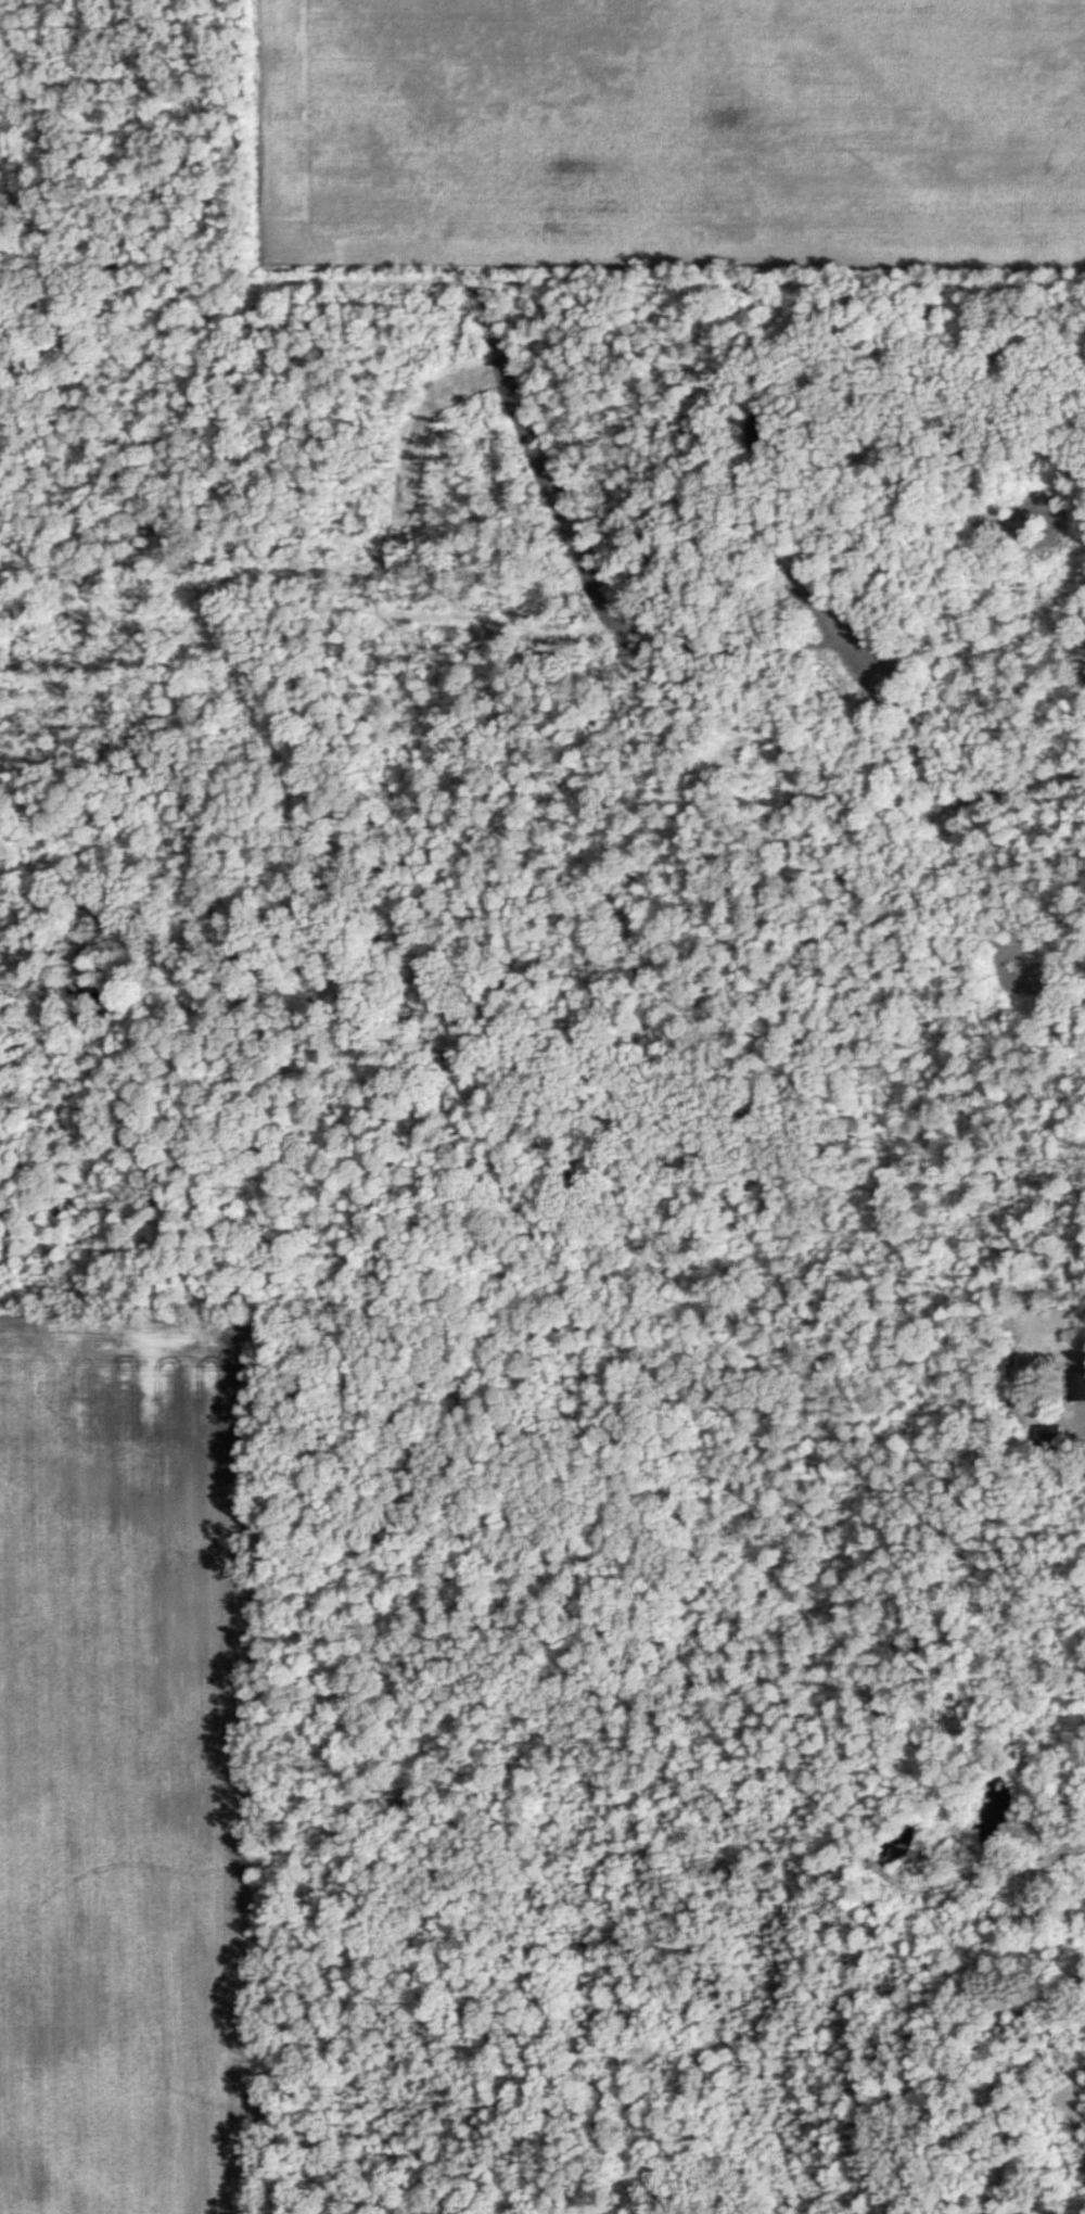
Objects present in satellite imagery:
building: (1072, 1396)

